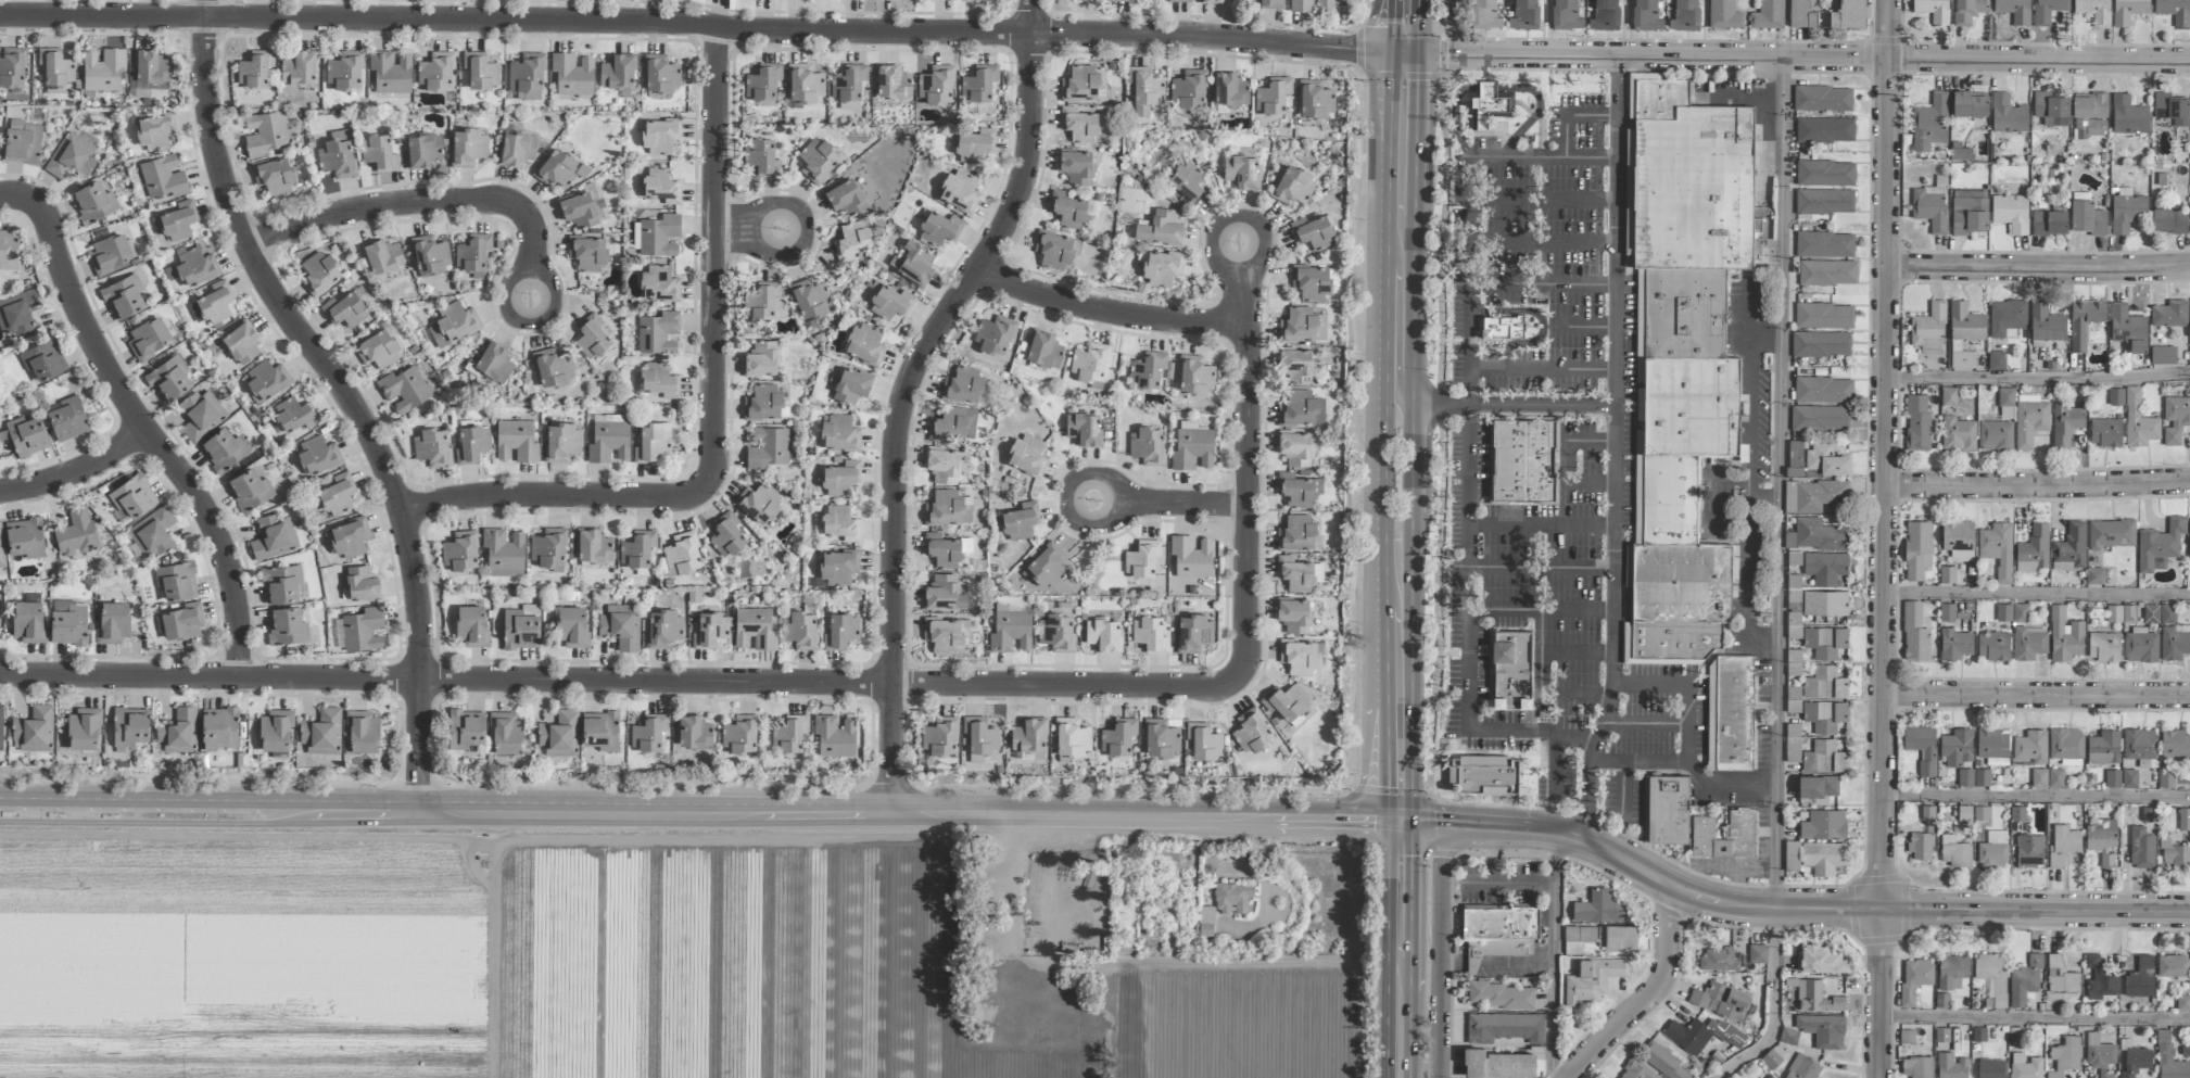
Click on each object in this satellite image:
building: (947, 0)
building: (974, 0)
building: (1090, 0)
building: (1118, 0)
building: (1178, 1)
building: (1212, 1)
building: (1271, 4)
building: (1325, 4)
building: (1301, 5)
building: (1933, 10)
building: (2013, 10)
building: (1969, 11)
building: (2048, 11)
building: (2093, 11)
building: (2128, 11)
building: (2175, 11)
building: (1723, 14)
building: (1801, 14)
building: (1848, 14)
building: (1484, 15)
building: (1524, 15)
building: (1566, 15)
building: (1605, 15)
building: (1768, 15)
building: (1646, 16)
building: (1684, 16)
road: (694, 22)
road: (1389, 26)
road: (1417, 27)
road: (1451, 27)
traffic signals: (1388, 53)
road: (1402, 54)
traffic signals: (1417, 55)
road: (1434, 55)
road: (1821, 58)
building: (11, 67)
building: (55, 67)
building: (254, 68)
building: (298, 68)
building: (102, 69)
building: (151, 71)
building: (344, 71)
building: (480, 71)
building: (390, 72)
building: (435, 72)
building: (617, 72)
building: (526, 73)
building: (572, 74)
building: (660, 74)
building: (763, 83)
building: (848, 83)
building: (893, 83)
building: (805, 84)
building: (979, 84)
building: (1080, 84)
building: (935, 85)
building: (1144, 89)
building: (1188, 89)
building: (1230, 89)
building: (528, 96)
building: (1273, 98)
building: (1823, 99)
building: (1315, 100)
building: (1493, 105)
building: (1969, 105)
building: (2051, 109)
building: (2172, 109)
road: (1591, 115)
building: (2008, 115)
building: (2089, 115)
building: (2128, 115)
building: (1929, 123)
building: (1077, 126)
building: (1825, 130)
building: (155, 132)
building: (264, 134)
road: (1565, 136)
building: (660, 137)
building: (22, 142)
building: (974, 145)
building: (467, 148)
building: (516, 149)
building: (422, 150)
building: (379, 153)
building: (337, 155)
building: (72, 156)
building: (763, 156)
building: (818, 160)
building: (1076, 167)
building: (560, 170)
building: (1241, 172)
building: (1825, 174)
building: (274, 176)
building: (163, 177)
building: (1185, 182)
building: (661, 186)
building: (1294, 187)
building: (960, 191)
building: (846, 198)
road: (1543, 199)
building: (1824, 202)
building: (93, 203)
road: (428, 203)
building: (1929, 207)
building: (582, 210)
building: (1067, 210)
building: (1969, 212)
building: (2011, 213)
building: (2127, 213)
building: (2087, 218)
building: (2169, 220)
building: (175, 223)
building: (2049, 223)
building: (939, 228)
building: (1161, 228)
road: (749, 230)
building: (1313, 232)
building: (659, 236)
building: (851, 241)
road: (1542, 242)
building: (1825, 244)
building: (8, 249)
building: (1054, 250)
building: (110, 253)
building: (587, 253)
building: (429, 254)
building: (473, 255)
road: (718, 255)
building: (382, 256)
building: (915, 264)
building: (189, 266)
building: (1162, 268)
road: (2037, 269)
building: (320, 272)
building: (1827, 272)
road: (1239, 282)
building: (1312, 282)
building: (659, 284)
road: (1542, 284)
building: (124, 297)
building: (810, 299)
building: (763, 300)
building: (888, 301)
building: (215, 304)
building: (345, 310)
building: (17, 313)
road: (1105, 313)
building: (2169, 314)
building: (1824, 316)
building: (2007, 318)
road: (1396, 321)
building: (2084, 321)
building: (453, 324)
building: (2046, 324)
building: (1302, 326)
road: (1582, 327)
building: (1503, 328)
building: (2127, 328)
building: (1928, 330)
building: (658, 333)
building: (1964, 334)
building: (992, 335)
building: (592, 337)
building: (148, 339)
building: (240, 343)
building: (865, 343)
building: (1821, 344)
building: (378, 350)
building: (1043, 350)
road: (1251, 352)
building: (2163, 355)
building: (1684, 357)
building: (761, 358)
building: (41, 359)
building: (1996, 360)
building: (492, 363)
building: (1089, 365)
building: (1296, 366)
building: (552, 368)
road: (1542, 369)
building: (1148, 370)
building: (1194, 375)
building: (168, 379)
building: (265, 379)
building: (660, 380)
road: (2036, 380)
building: (850, 385)
building: (962, 385)
building: (404, 389)
building: (1823, 390)
road: (908, 392)
road: (346, 394)
building: (763, 403)
road: (1514, 404)
building: (1300, 409)
building: (201, 415)
building: (294, 416)
building: (1820, 418)
building: (67, 419)
building: (2175, 419)
building: (2029, 420)
building: (2138, 421)
building: (950, 422)
building: (1917, 423)
road: (140, 424)
building: (1998, 424)
building: (2065, 424)
road: (1352, 428)
building: (1084, 429)
building: (2105, 432)
building: (840, 433)
road: (1440, 434)
building: (1958, 434)
building: (26, 435)
road: (1468, 436)
road: (1383, 437)
road: (1412, 437)
building: (516, 441)
road: (1590, 441)
building: (561, 442)
building: (471, 444)
building: (653, 444)
building: (1147, 445)
building: (431, 447)
building: (767, 447)
building: (1192, 448)
building: (1295, 448)
building: (223, 449)
road: (1615, 451)
building: (317, 455)
road: (1883, 455)
building: (1028, 456)
building: (1795, 458)
building: (1826, 460)
building: (1523, 461)
building: (942, 466)
road: (77, 473)
building: (840, 478)
road: (1569, 483)
road: (2036, 486)
building: (249, 490)
building: (337, 495)
building: (1814, 495)
building: (134, 496)
road: (556, 497)
building: (758, 503)
road: (1170, 504)
building: (946, 508)
building: (1020, 521)
building: (840, 523)
road: (1541, 524)
road: (1249, 529)
building: (152, 532)
building: (75, 533)
building: (2111, 533)
building: (1299, 534)
building: (727, 535)
building: (1816, 535)
building: (25, 537)
building: (273, 537)
building: (350, 537)
building: (2189, 538)
building: (1959, 541)
building: (2160, 543)
building: (593, 547)
building: (2069, 548)
building: (548, 549)
building: (1917, 549)
building: (1998, 549)
building: (2034, 549)
building: (637, 550)
building: (942, 550)
building: (1, 551)
building: (459, 551)
building: (503, 553)
building: (682, 554)
building: (1191, 557)
building: (1141, 558)
building: (1047, 567)
road: (1540, 567)
building: (1825, 568)
building: (1794, 570)
building: (1293, 575)
building: (2094, 576)
building: (176, 581)
road: (1776, 581)
building: (282, 584)
building: (360, 584)
building: (944, 593)
road: (2036, 595)
building: (1825, 603)
road: (1540, 610)
building: (2004, 612)
building: (2021, 612)
building: (2159, 613)
building: (1293, 616)
building: (1793, 619)
building: (28, 621)
building: (68, 622)
building: (112, 623)
building: (181, 623)
building: (286, 625)
building: (472, 626)
building: (622, 626)
building: (572, 627)
building: (663, 629)
building: (755, 629)
building: (363, 630)
building: (520, 630)
building: (799, 630)
building: (1011, 630)
building: (710, 631)
building: (840, 632)
building: (1056, 632)
building: (1192, 633)
building: (1914, 633)
building: (1103, 634)
building: (1150, 634)
building: (946, 635)
building: (2064, 636)
building: (1825, 642)
building: (2175, 642)
building: (1954, 644)
building: (2028, 644)
building: (1993, 645)
building: (2104, 646)
building: (2140, 646)
road: (1577, 651)
building: (1299, 657)
building: (1511, 669)
road: (621, 683)
road: (1650, 684)
building: (1825, 684)
road: (2035, 695)
road: (1553, 696)
building: (1794, 699)
building: (1284, 701)
building: (1733, 711)
building: (1824, 715)
road: (1688, 723)
road: (1645, 724)
building: (1, 726)
building: (130, 726)
building: (219, 728)
building: (465, 728)
building: (34, 730)
building: (83, 730)
building: (178, 731)
building: (275, 731)
building: (600, 731)
building: (1252, 731)
building: (321, 732)
building: (362, 732)
building: (648, 733)
building: (694, 733)
building: (506, 734)
building: (739, 734)
building: (789, 734)
building: (559, 735)
building: (980, 735)
building: (834, 736)
building: (1027, 736)
building: (1118, 736)
building: (940, 738)
building: (1161, 738)
building: (1071, 739)
building: (1203, 741)
building: (1793, 743)
building: (2065, 744)
building: (2139, 744)
building: (2175, 745)
building: (1922, 747)
building: (1957, 747)
building: (1992, 747)
building: (2029, 748)
building: (2103, 748)
building: (1824, 758)
road: (1687, 762)
road: (1555, 769)
building: (1483, 775)
building: (1965, 777)
building: (2039, 777)
building: (2055, 778)
building: (2113, 778)
building: (2129, 778)
building: (1819, 786)
road: (1098, 788)
road: (1621, 792)
road: (1418, 794)
road: (2035, 797)
building: (1668, 810)
road: (699, 812)
building: (1927, 812)
building: (2017, 813)
building: (2185, 819)
traffic signals: (1400, 820)
building: (1823, 825)
building: (1724, 836)
building: (2101, 840)
building: (2063, 845)
building: (1921, 846)
building: (2141, 848)
building: (1993, 849)
building: (2029, 851)
building: (1954, 852)
road: (1444, 854)
building: (2175, 854)
building: (1792, 855)
building: (1823, 857)
road: (1638, 868)
road: (1495, 883)
building: (1231, 898)
building: (1600, 908)
road: (2034, 912)
building: (1204, 921)
building: (1502, 922)
building: (1617, 937)
building: (1578, 938)
road: (1398, 949)
road: (1440, 950)
road: (1553, 954)
building: (1758, 954)
crop: (659, 959)
building: (1821, 959)
building: (1719, 960)
road: (1496, 962)
building: (2174, 966)
building: (1952, 972)
building: (2061, 976)
building: (1991, 977)
building: (1914, 978)
building: (2139, 978)
building: (1593, 979)
building: (2099, 979)
building: (2024, 980)
road: (1881, 993)
road: (1648, 994)
building: (1501, 995)
building: (1815, 997)
building: (1721, 1000)
building: (1941, 1000)
road: (2036, 1020)
building: (1506, 1027)
building: (1823, 1029)
building: (1689, 1036)
building: (1788, 1036)
building: (1941, 1037)
building: (2100, 1055)
building: (2065, 1056)
building: (2168, 1057)
building: (1662, 1061)
building: (2135, 1061)
building: (1498, 1064)
building: (1917, 1066)
building: (1951, 1066)
building: (2025, 1066)
building: (1803, 1067)
building: (1990, 1068)
building: (1637, 1070)
building: (1769, 1076)

